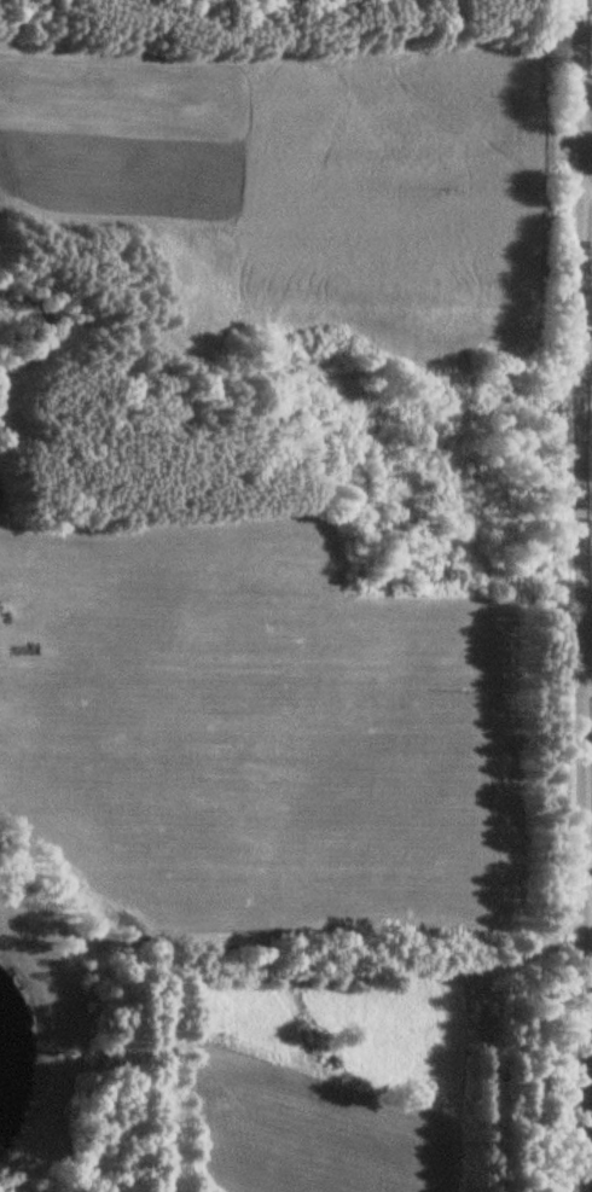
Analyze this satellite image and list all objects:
road: (585, 595)

